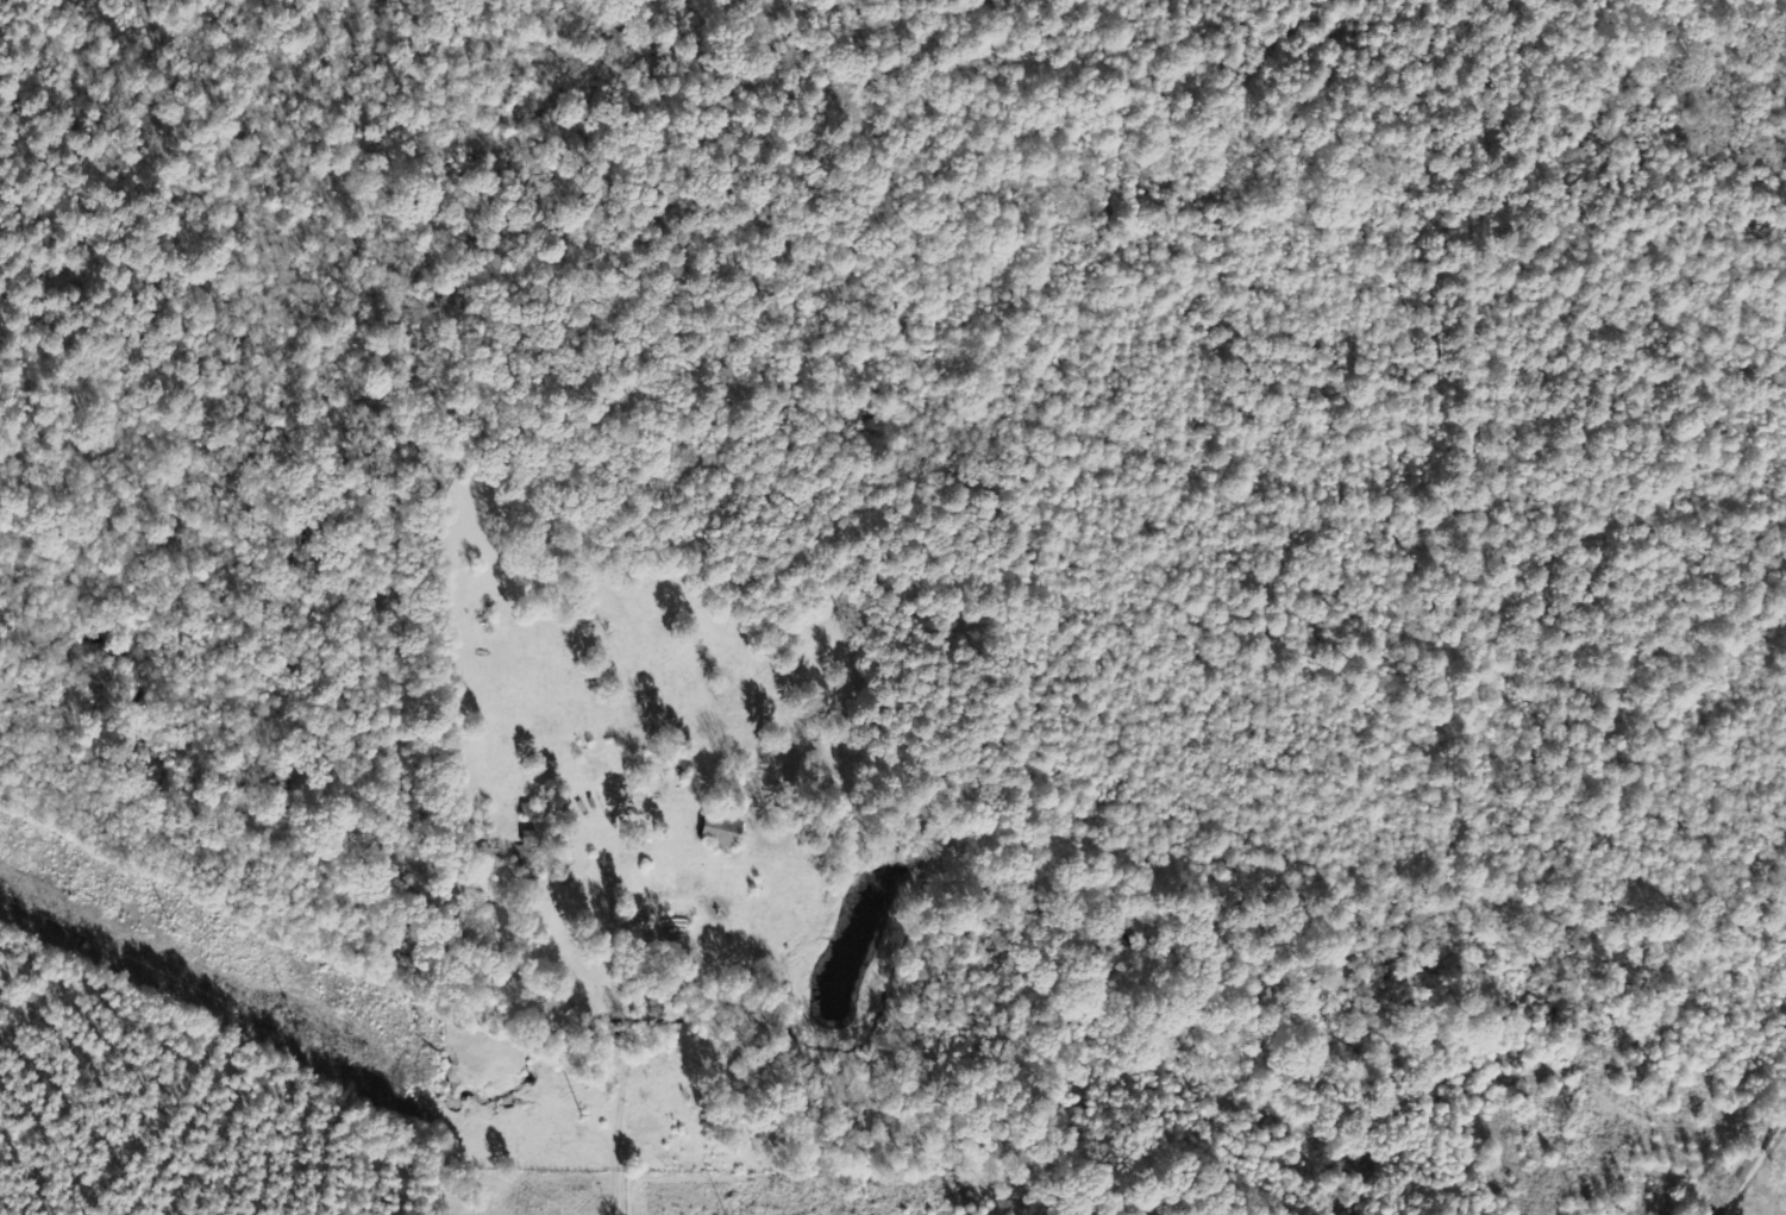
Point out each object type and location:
building: (722, 831)
building: (526, 845)
road: (1757, 1175)

